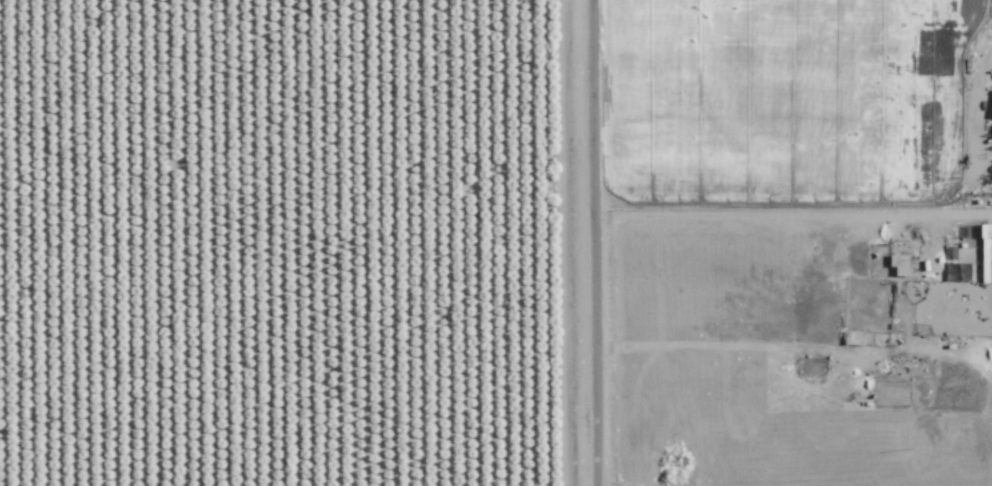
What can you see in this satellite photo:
crop: (285, 243)
road: (596, 243)
building: (854, 337)

